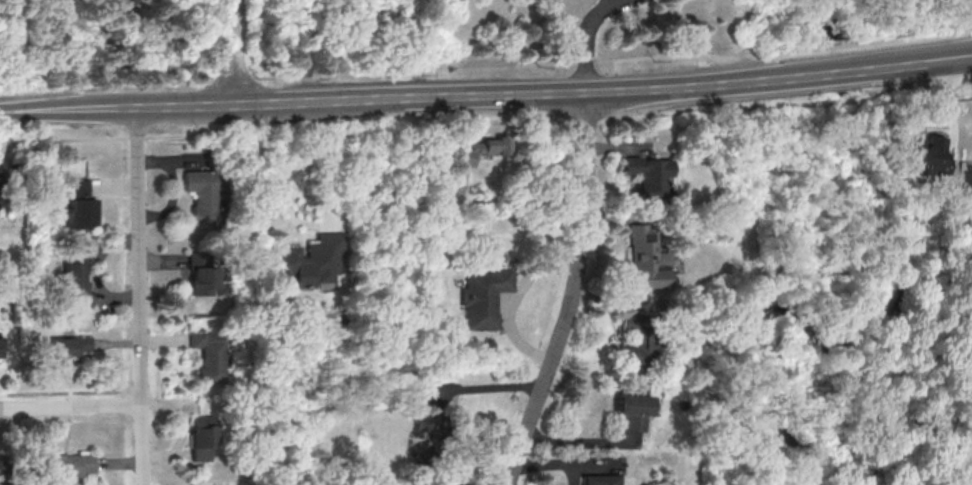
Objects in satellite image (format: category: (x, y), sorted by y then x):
road: (584, 39)
river: (833, 44)
road: (230, 53)
road: (778, 54)
road: (942, 58)
road: (884, 66)
road: (836, 72)
road: (700, 86)
road: (405, 99)
road: (180, 107)
road: (66, 110)
road: (291, 131)
building: (479, 150)
building: (927, 156)
road: (258, 167)
building: (648, 177)
building: (197, 195)
building: (78, 205)
building: (645, 258)
building: (310, 262)
building: (197, 273)
building: (75, 284)
road: (571, 294)
road: (136, 297)
building: (484, 297)
road: (511, 298)
building: (633, 340)
river: (854, 343)
building: (66, 346)
building: (209, 356)
road: (486, 387)
road: (69, 405)
building: (632, 407)
building: (422, 422)
building: (201, 438)
building: (63, 467)
building: (0, 471)
building: (598, 480)

